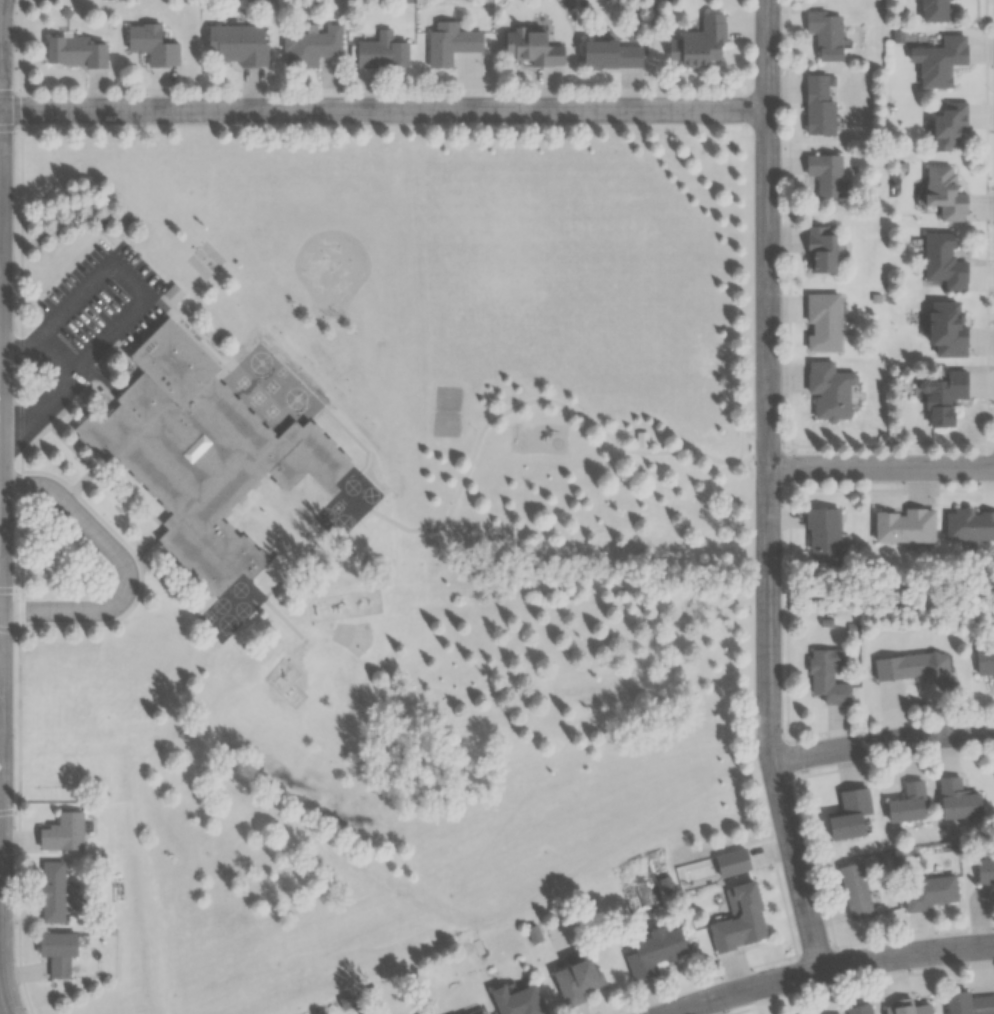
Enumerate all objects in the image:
building: (933, 10)
building: (826, 34)
building: (450, 43)
building: (234, 44)
building: (698, 44)
building: (152, 46)
building: (311, 46)
building: (532, 48)
building: (381, 52)
building: (73, 53)
building: (611, 55)
building: (938, 60)
road: (9, 89)
road: (426, 89)
building: (817, 106)
road: (20, 109)
road: (383, 110)
building: (947, 125)
road: (744, 134)
building: (827, 176)
building: (943, 194)
building: (819, 249)
park: (205, 260)
building: (943, 262)
park: (332, 268)
road: (129, 281)
road: (789, 293)
building: (171, 295)
parking lot: (105, 296)
park: (486, 309)
building: (822, 322)
road: (27, 349)
road: (67, 349)
road: (99, 378)
building: (829, 390)
building: (944, 395)
road: (549, 399)
road: (47, 407)
park: (447, 410)
building: (641, 438)
road: (987, 449)
building: (198, 452)
road: (789, 468)
road: (881, 469)
road: (768, 487)
road: (891, 490)
road: (0, 507)
building: (904, 525)
building: (968, 525)
building: (822, 536)
road: (123, 565)
road: (23, 572)
road: (0, 609)
park: (354, 637)
building: (984, 660)
building: (914, 667)
building: (827, 675)
road: (787, 730)
road: (882, 741)
building: (958, 799)
building: (907, 803)
building: (848, 813)
building: (62, 832)
building: (985, 870)
building: (51, 891)
building: (854, 891)
building: (929, 892)
building: (740, 919)
building: (56, 951)
building: (652, 951)
road: (831, 967)
building: (575, 980)
building: (517, 1000)
building: (968, 1003)
building: (909, 1008)
building: (859, 1009)
building: (480, 1012)

